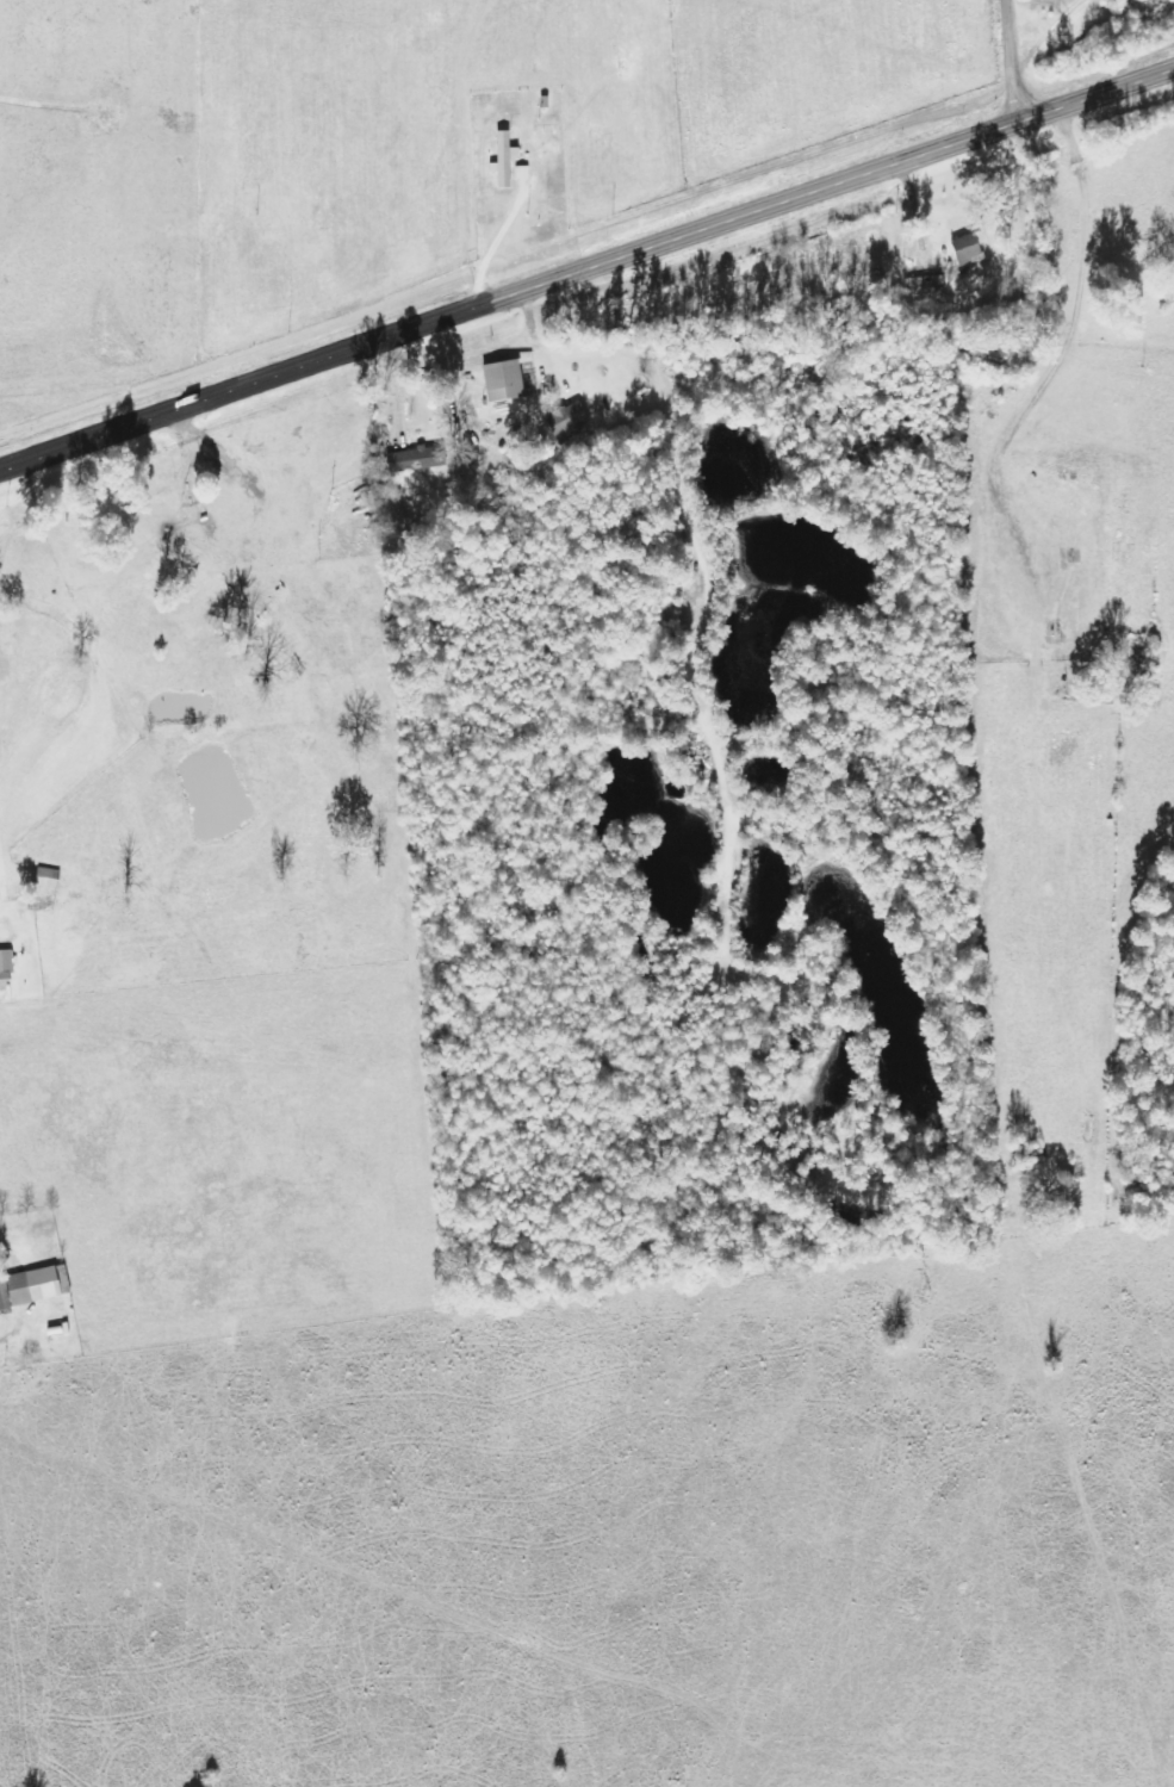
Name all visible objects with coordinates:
road: (1048, 31)
road: (1013, 61)
building: (505, 161)
road: (496, 246)
building: (969, 250)
road: (586, 268)
building: (925, 285)
building: (505, 381)
building: (569, 421)
building: (418, 460)
building: (48, 882)
building: (6, 970)
building: (36, 1287)
building: (5, 1298)

